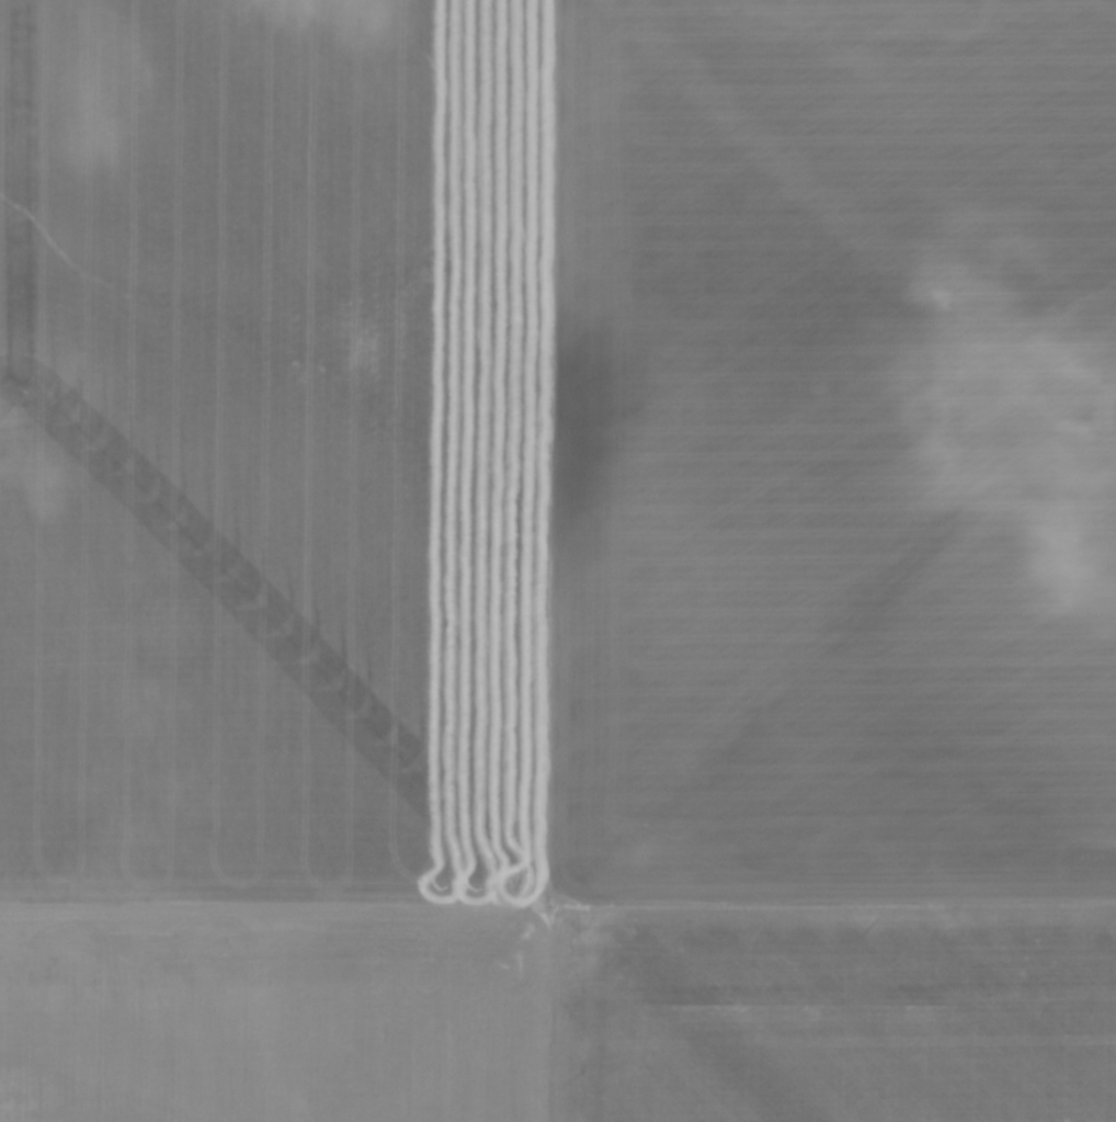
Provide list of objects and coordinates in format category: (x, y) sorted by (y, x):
crop: (558, 560)

